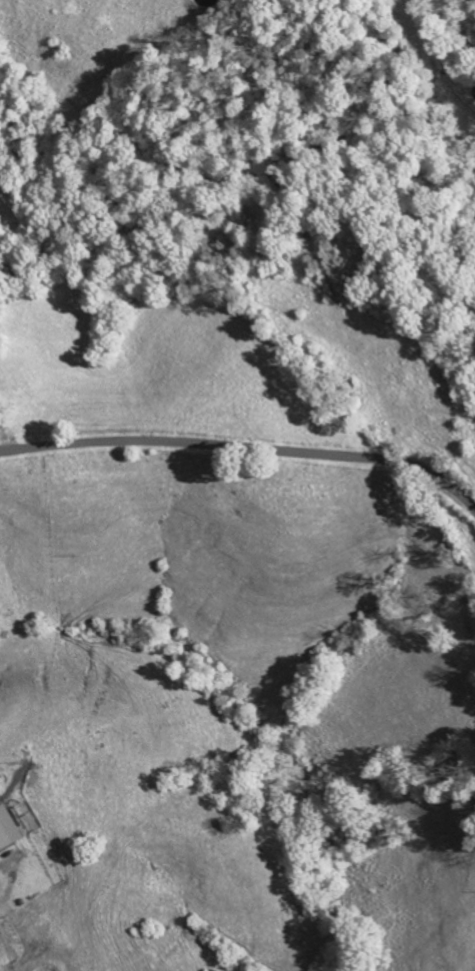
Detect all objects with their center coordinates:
road: (243, 448)
building: (7, 828)

